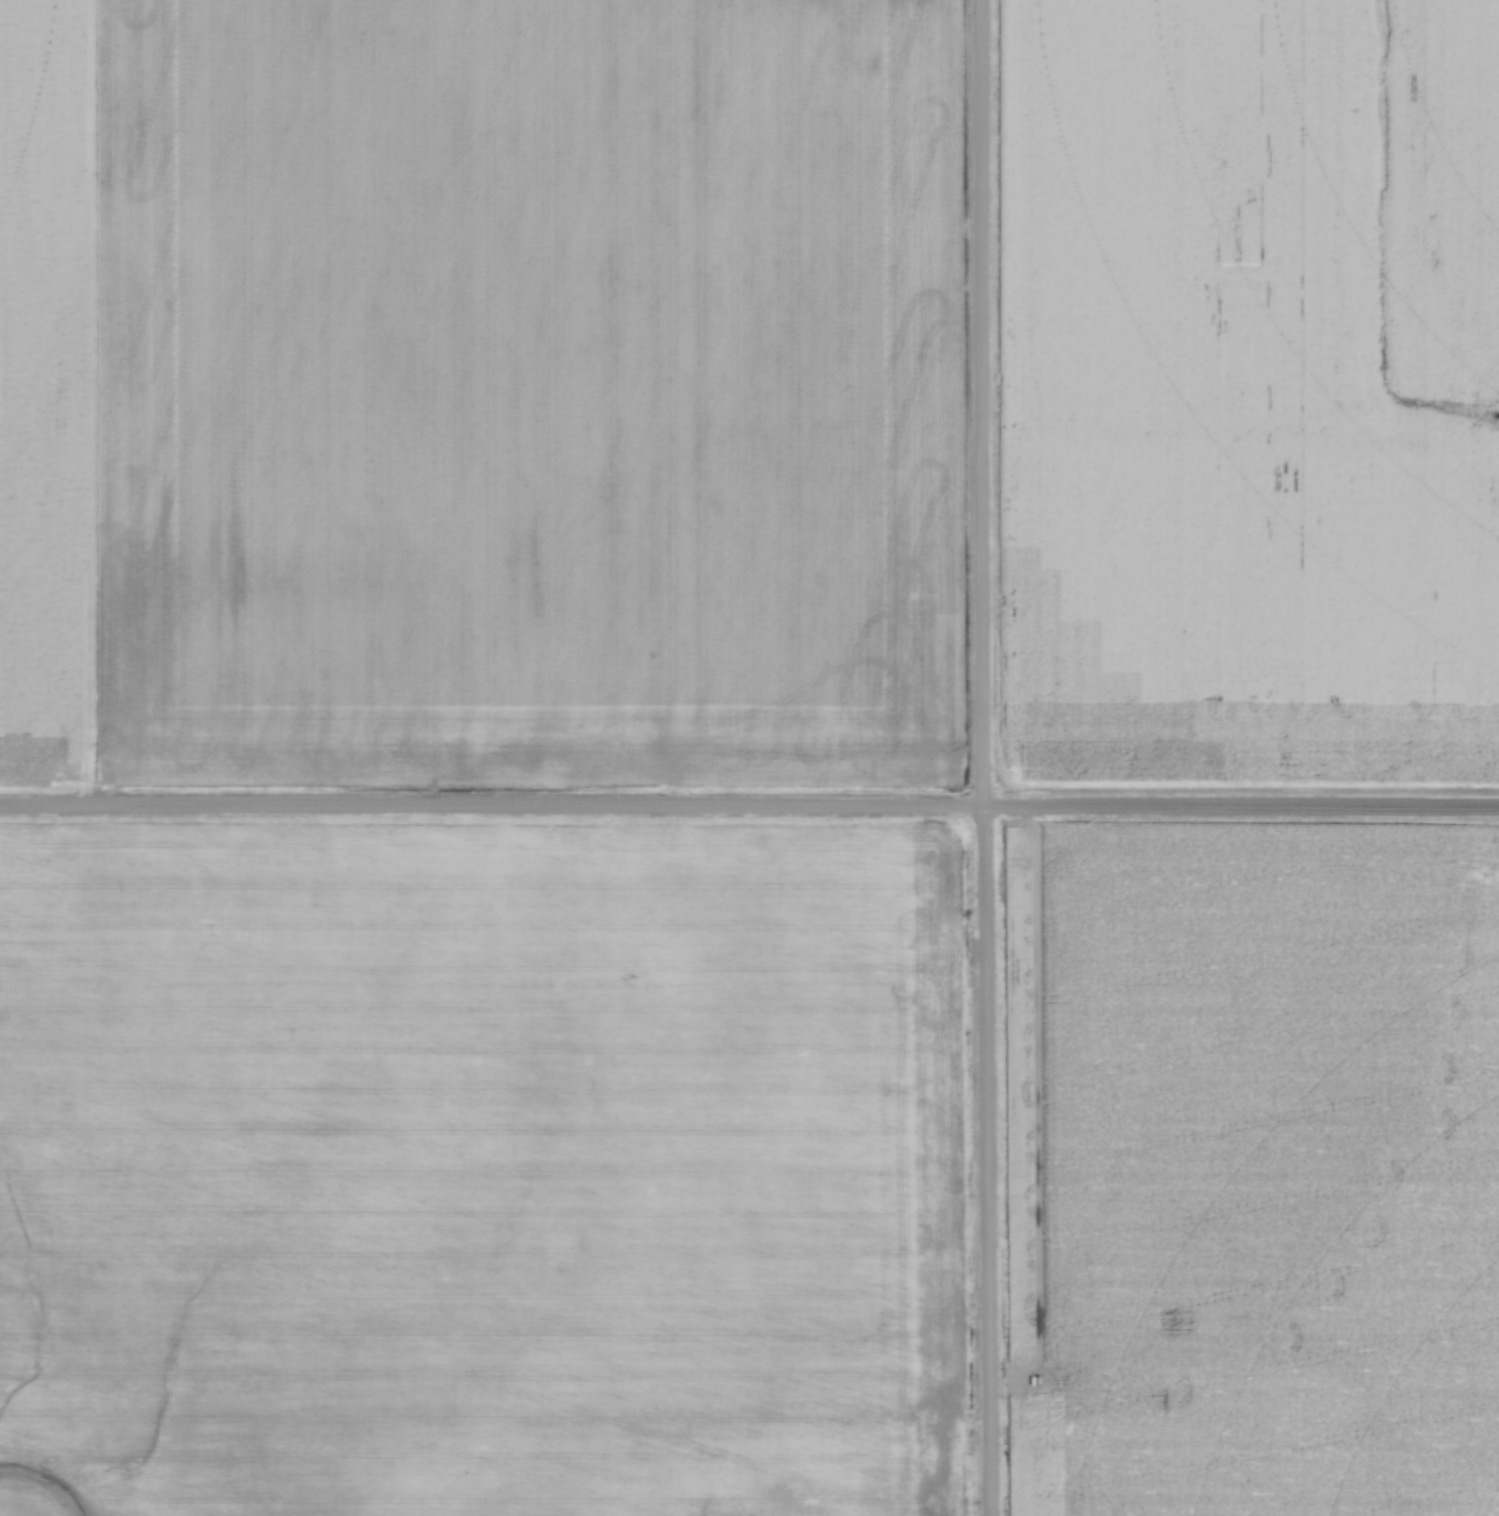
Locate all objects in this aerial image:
road: (979, 758)
road: (749, 808)

